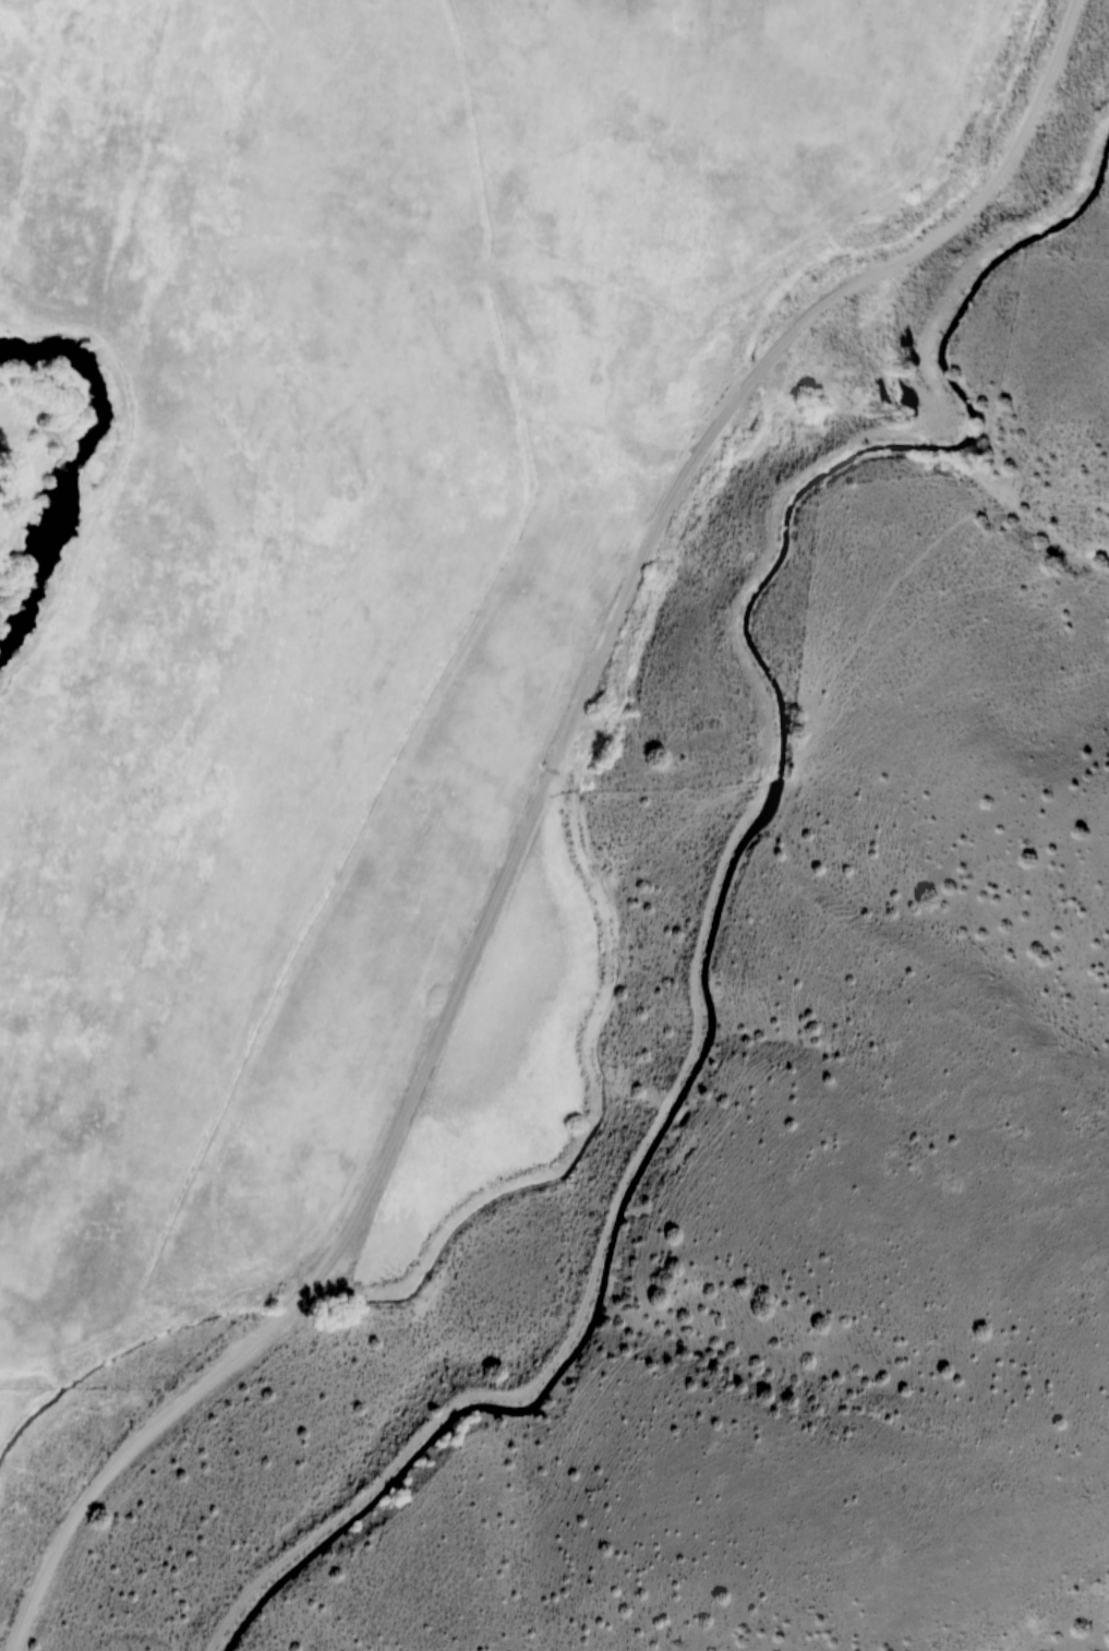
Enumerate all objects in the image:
river: (74, 464)
road: (534, 811)

